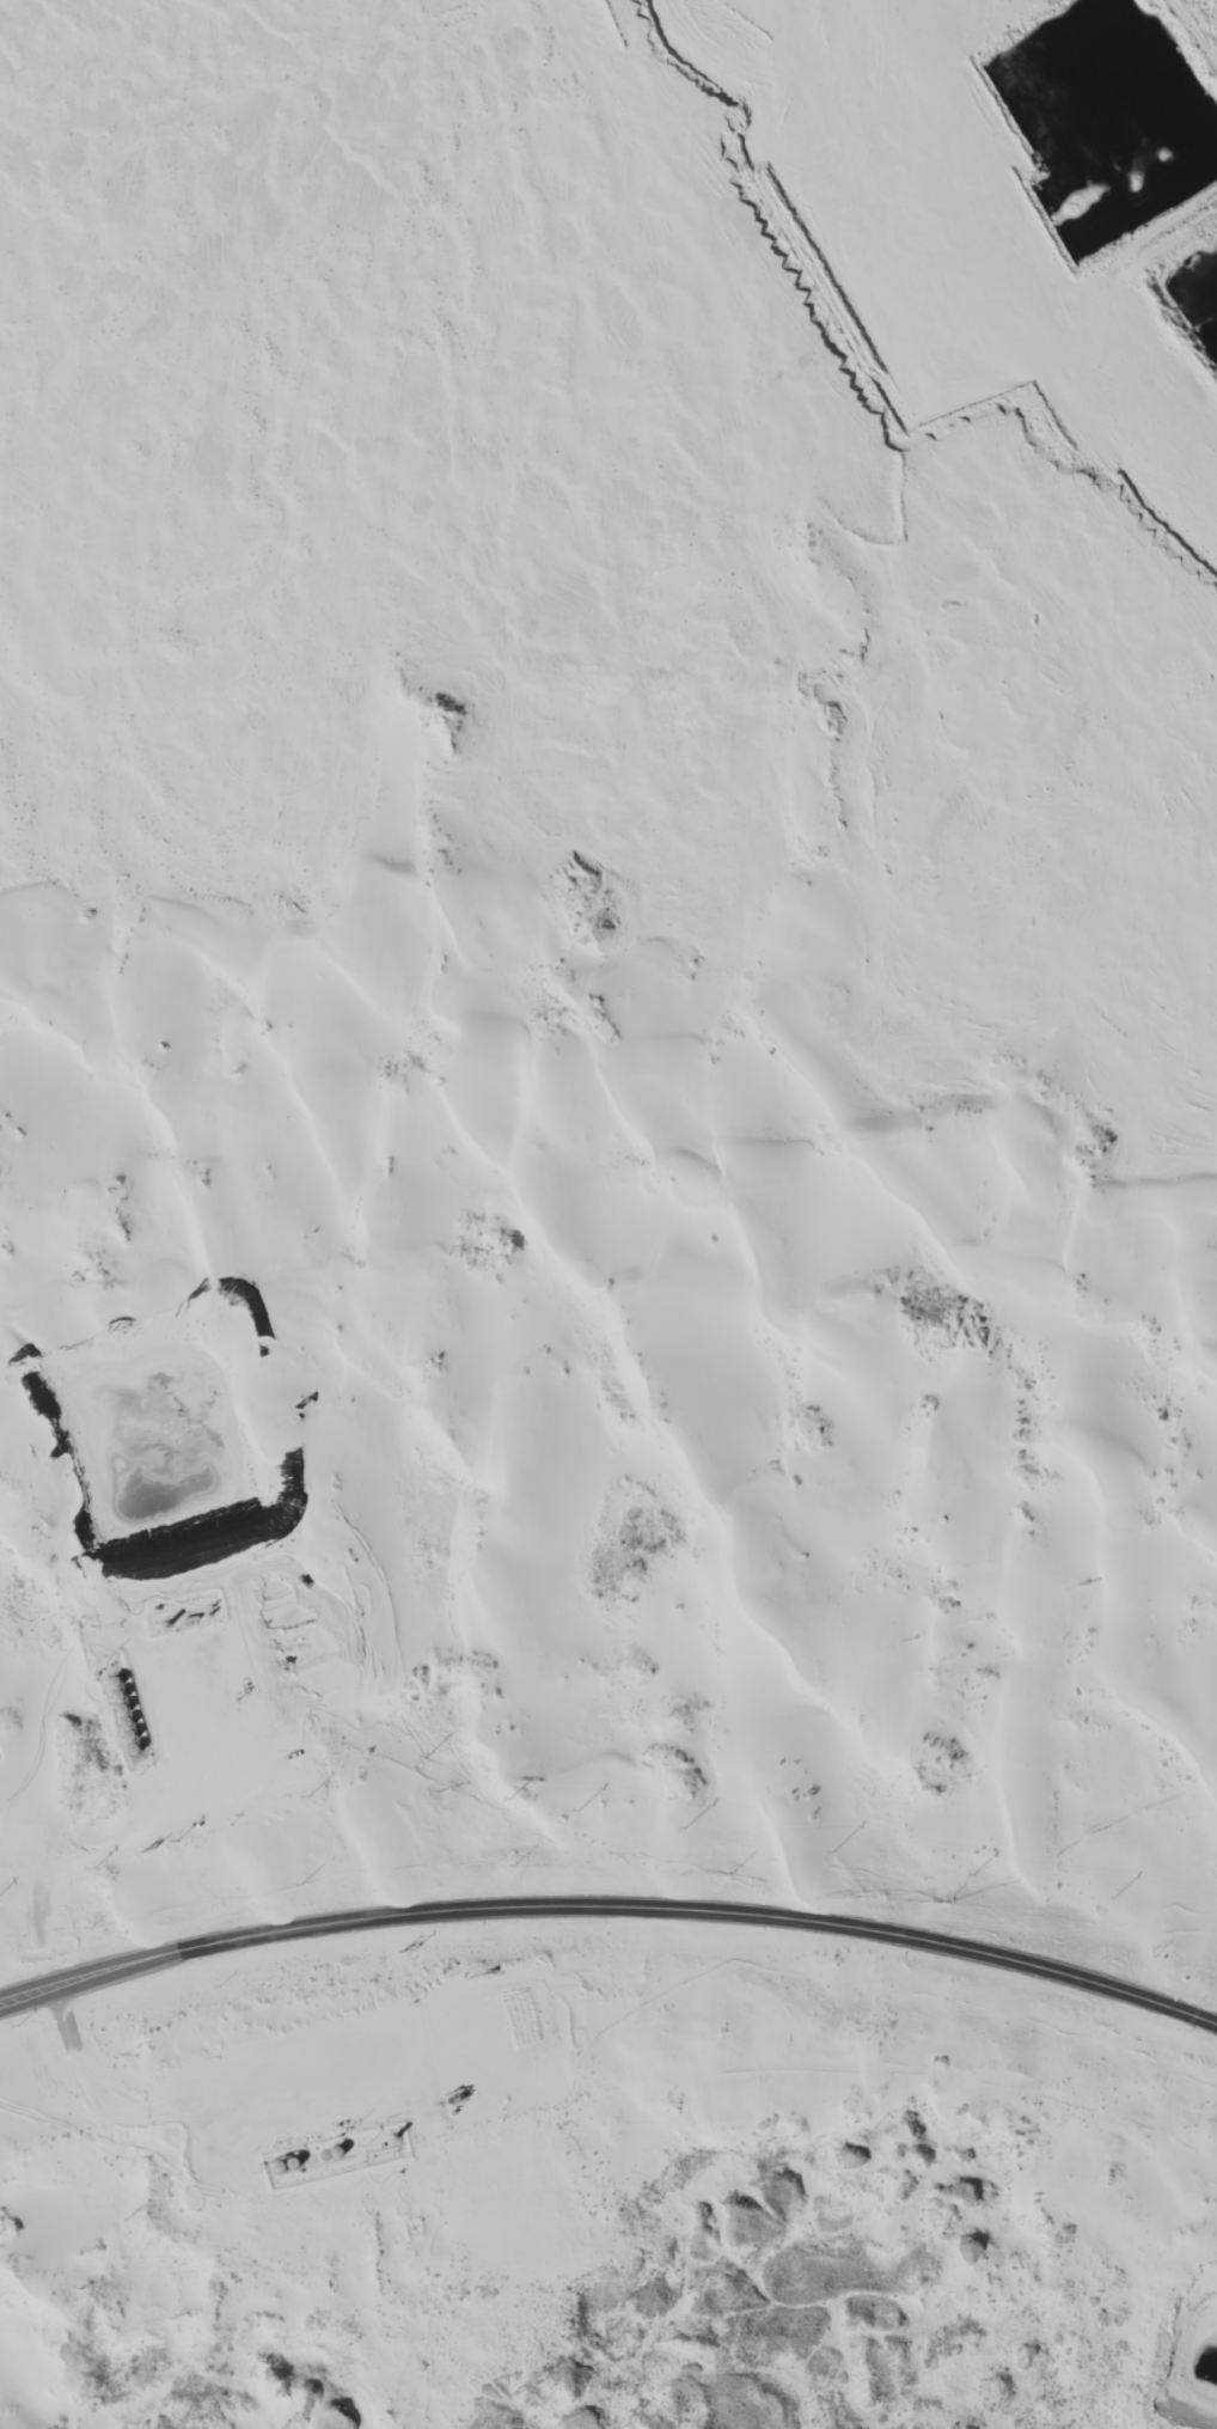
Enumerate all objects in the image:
road: (611, 1906)

